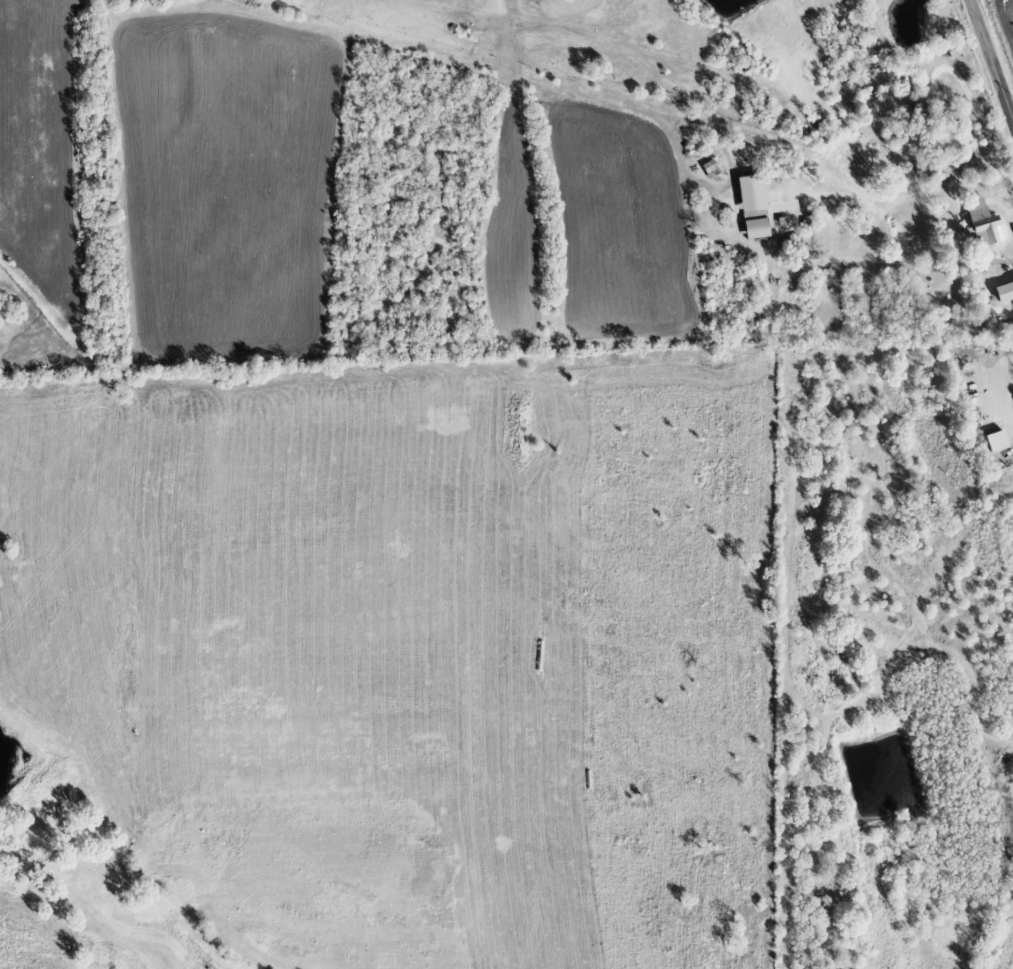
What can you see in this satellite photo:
road: (991, 60)
building: (752, 207)
building: (984, 224)
building: (1004, 293)

